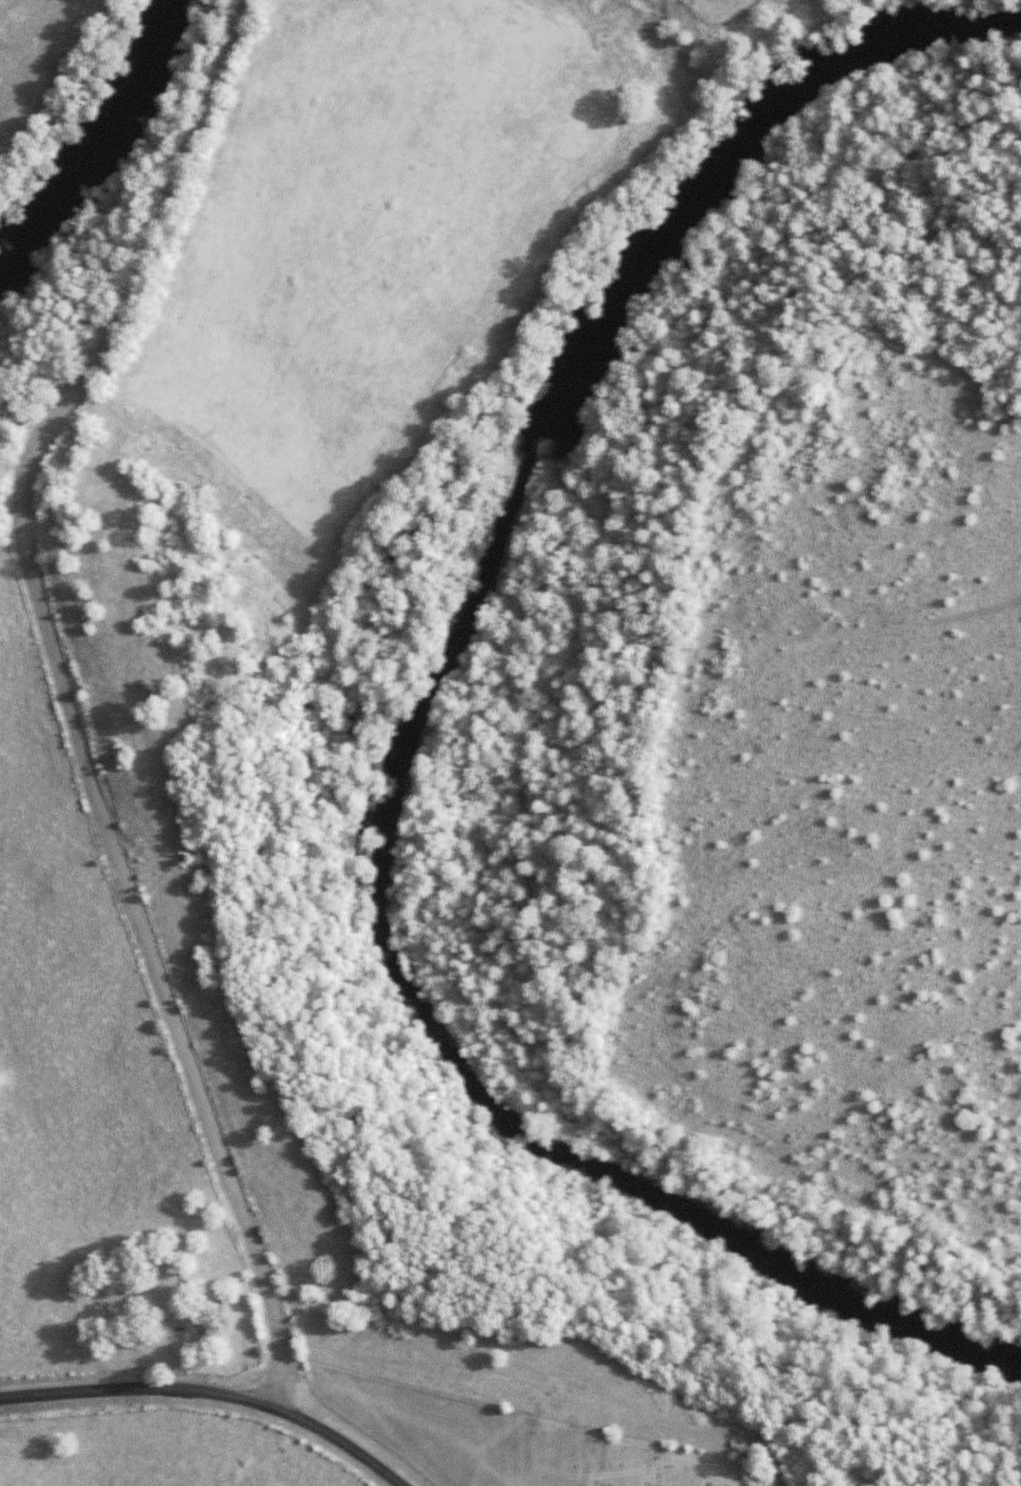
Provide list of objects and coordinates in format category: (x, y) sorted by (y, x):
road: (64, 692)
road: (211, 1393)
park: (510, 1443)

